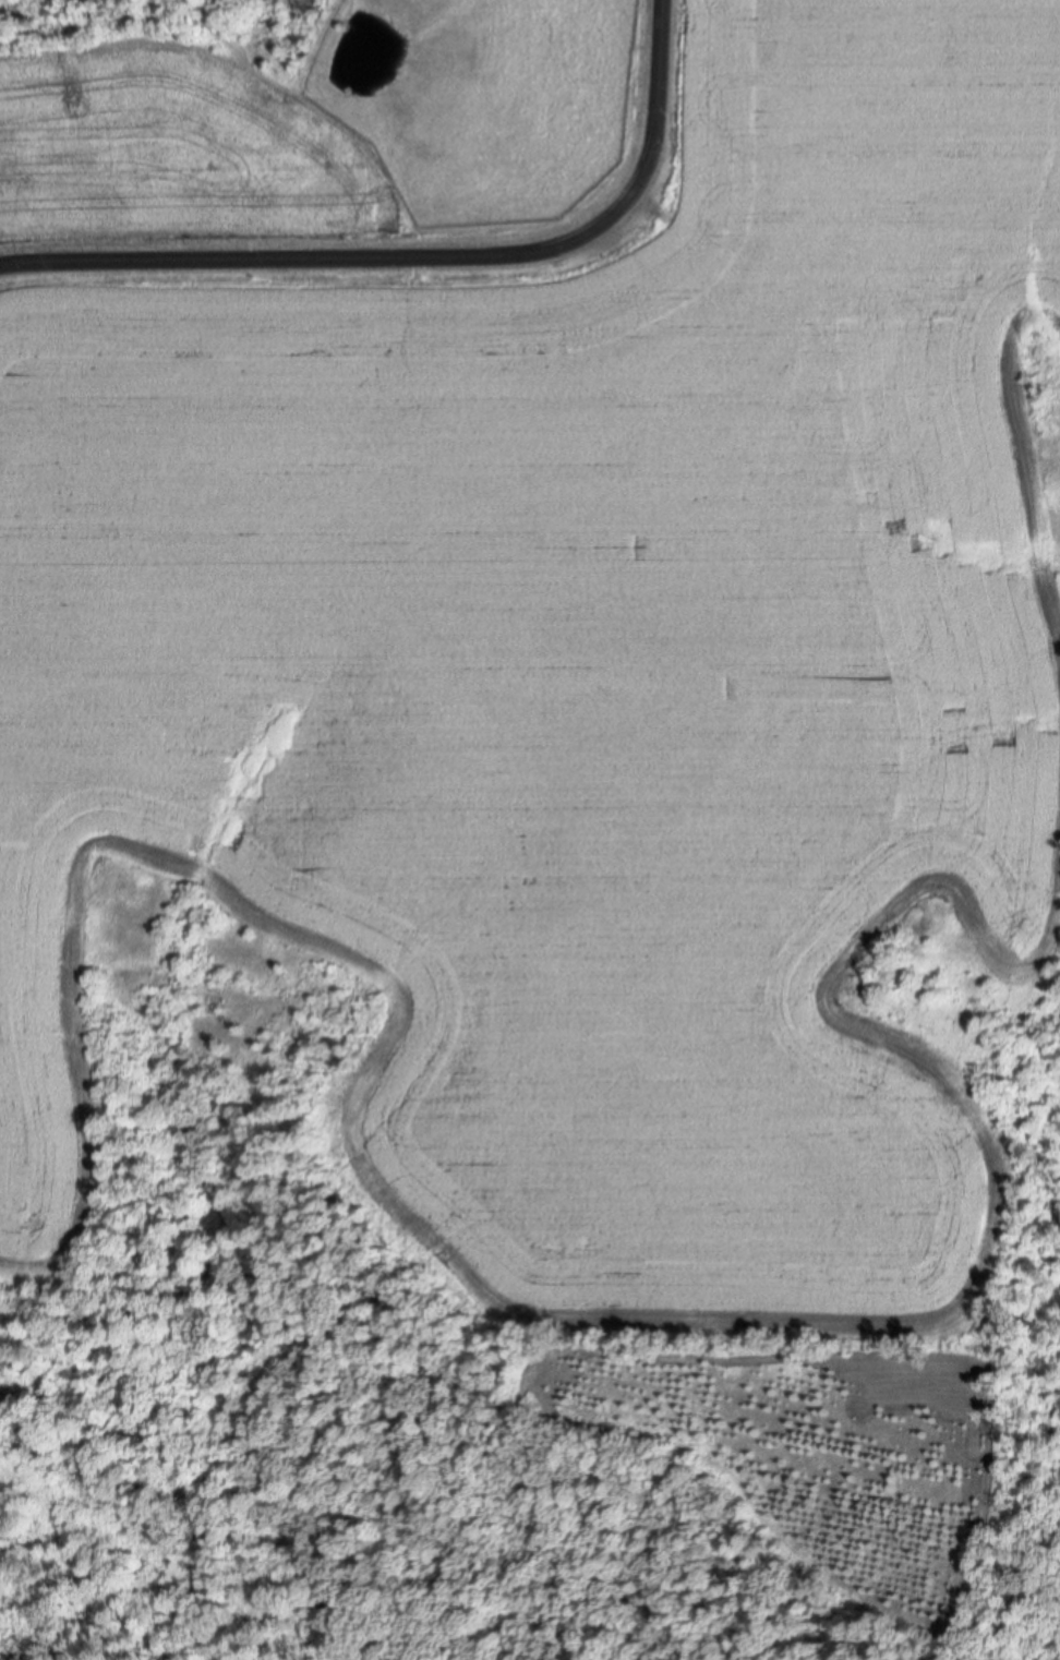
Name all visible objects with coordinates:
road: (431, 277)

